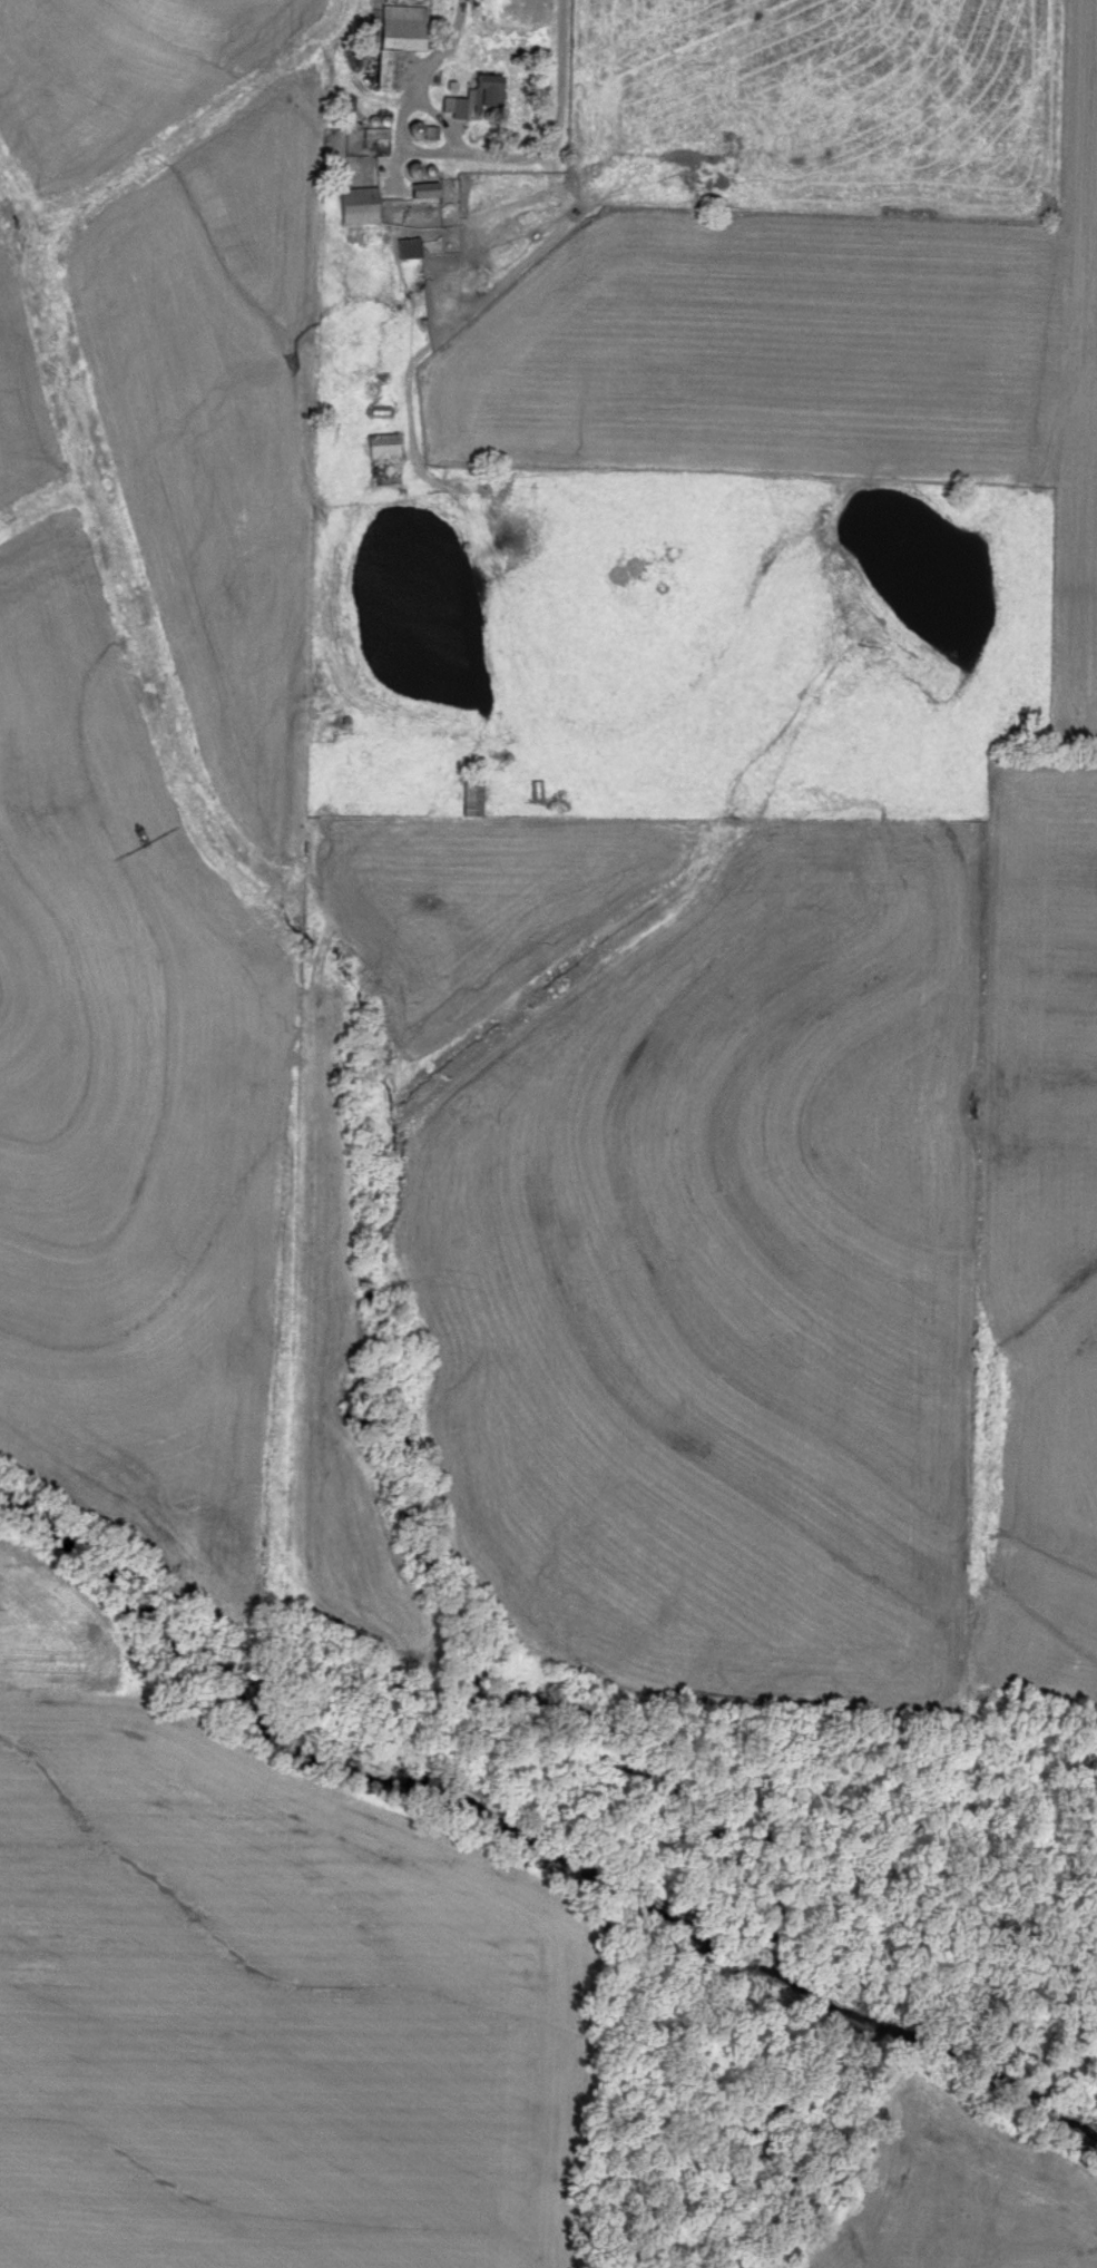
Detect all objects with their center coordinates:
building: (394, 40)
road: (562, 53)
building: (473, 96)
road: (447, 131)
building: (421, 190)
building: (353, 206)
building: (404, 248)
building: (376, 411)
building: (380, 447)
building: (537, 790)
building: (470, 798)

